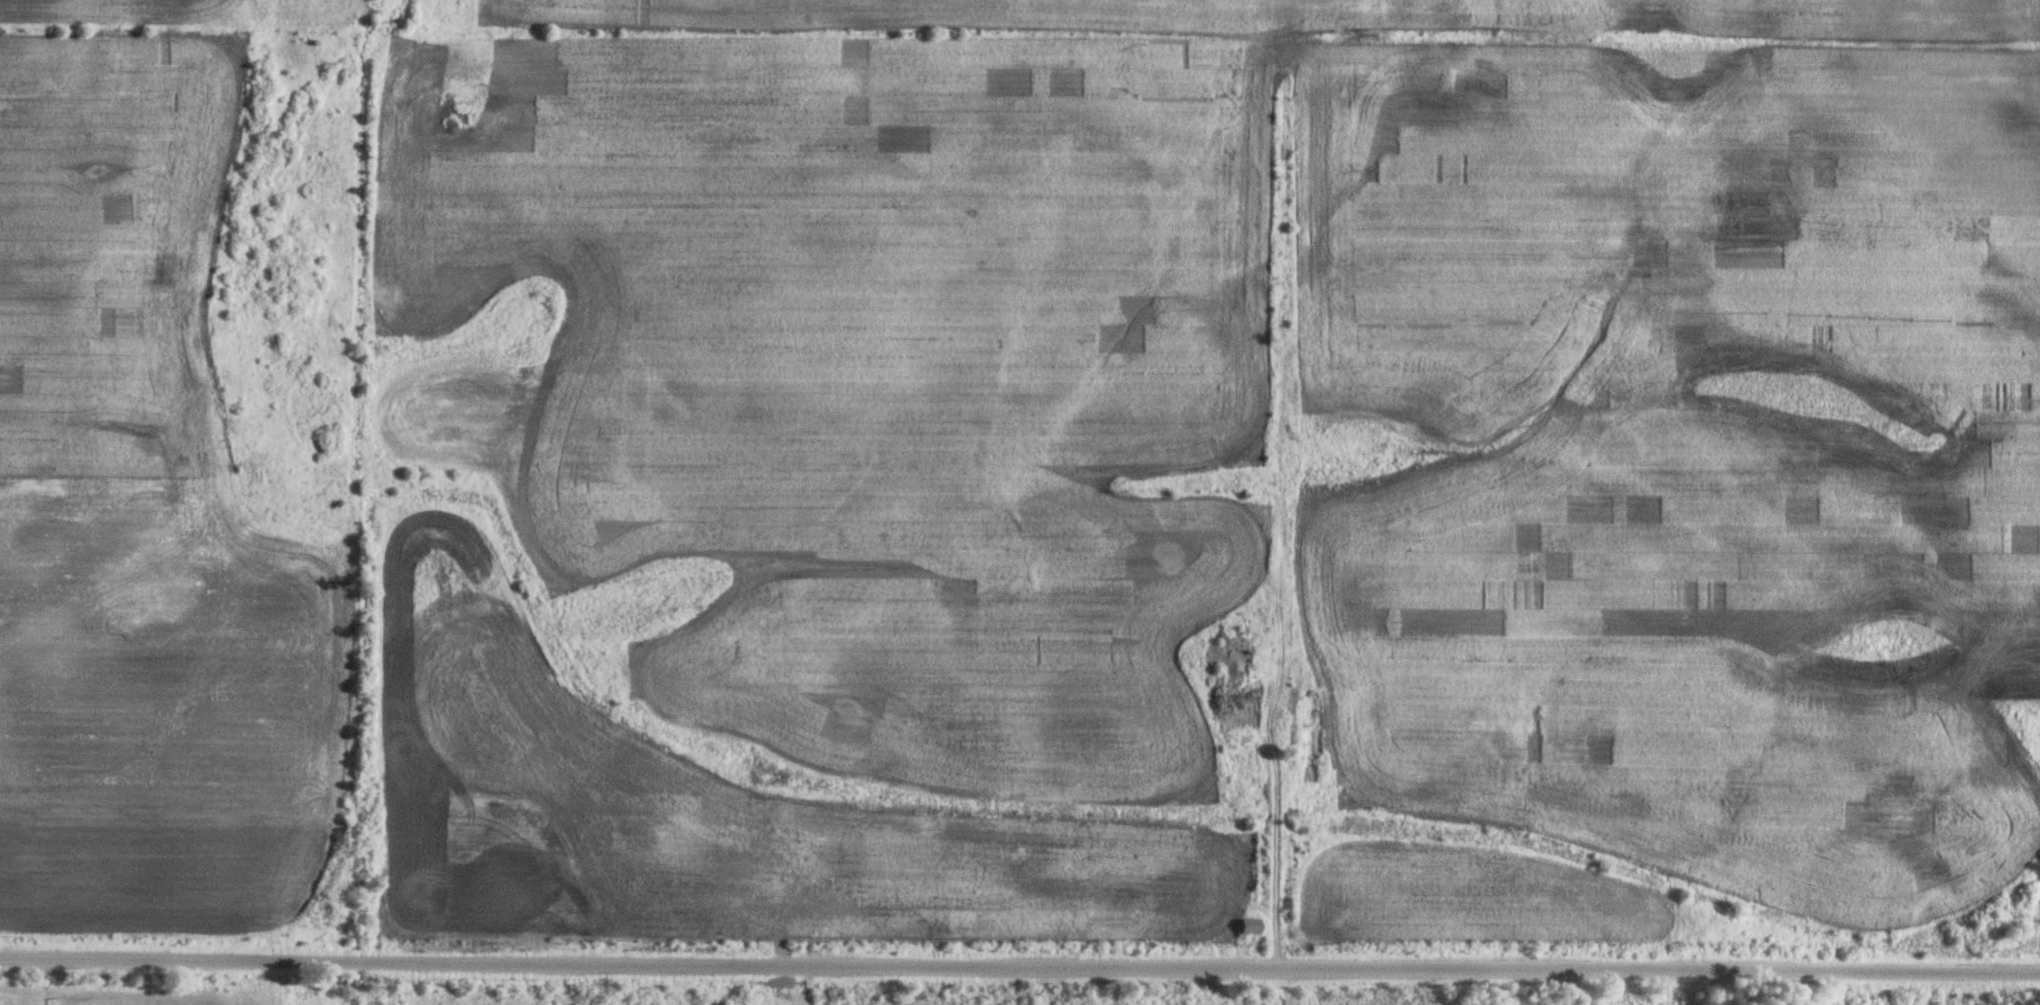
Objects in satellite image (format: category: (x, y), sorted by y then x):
building: (1232, 661)
building: (1250, 927)
road: (1020, 964)

